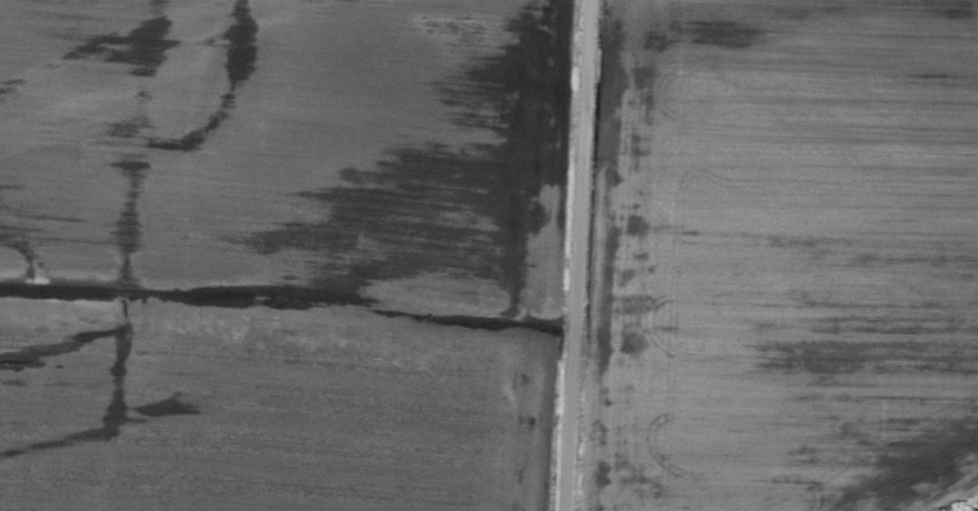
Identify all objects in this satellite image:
road: (577, 255)

